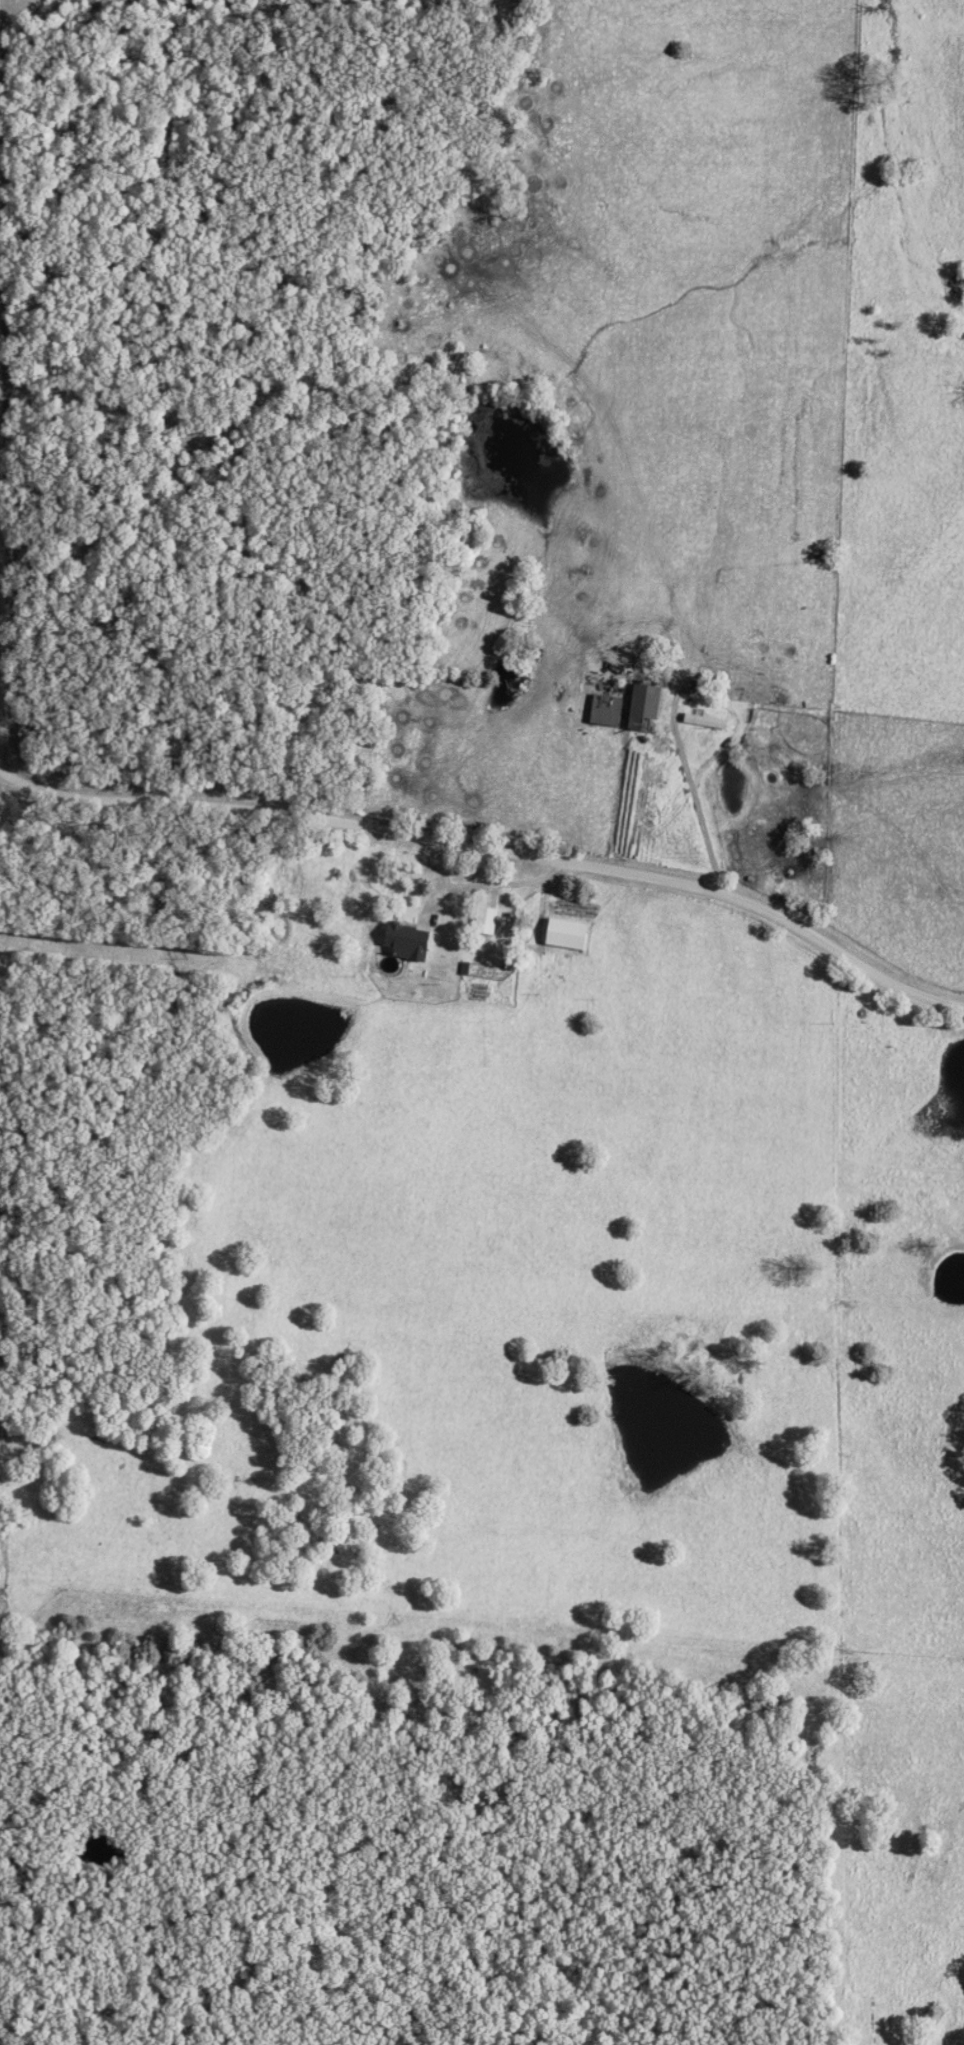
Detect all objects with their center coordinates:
building: (642, 708)
building: (703, 721)
road: (3, 765)
road: (3, 785)
road: (703, 820)
road: (496, 846)
road: (489, 887)
building: (488, 922)
building: (565, 934)
building: (405, 942)

